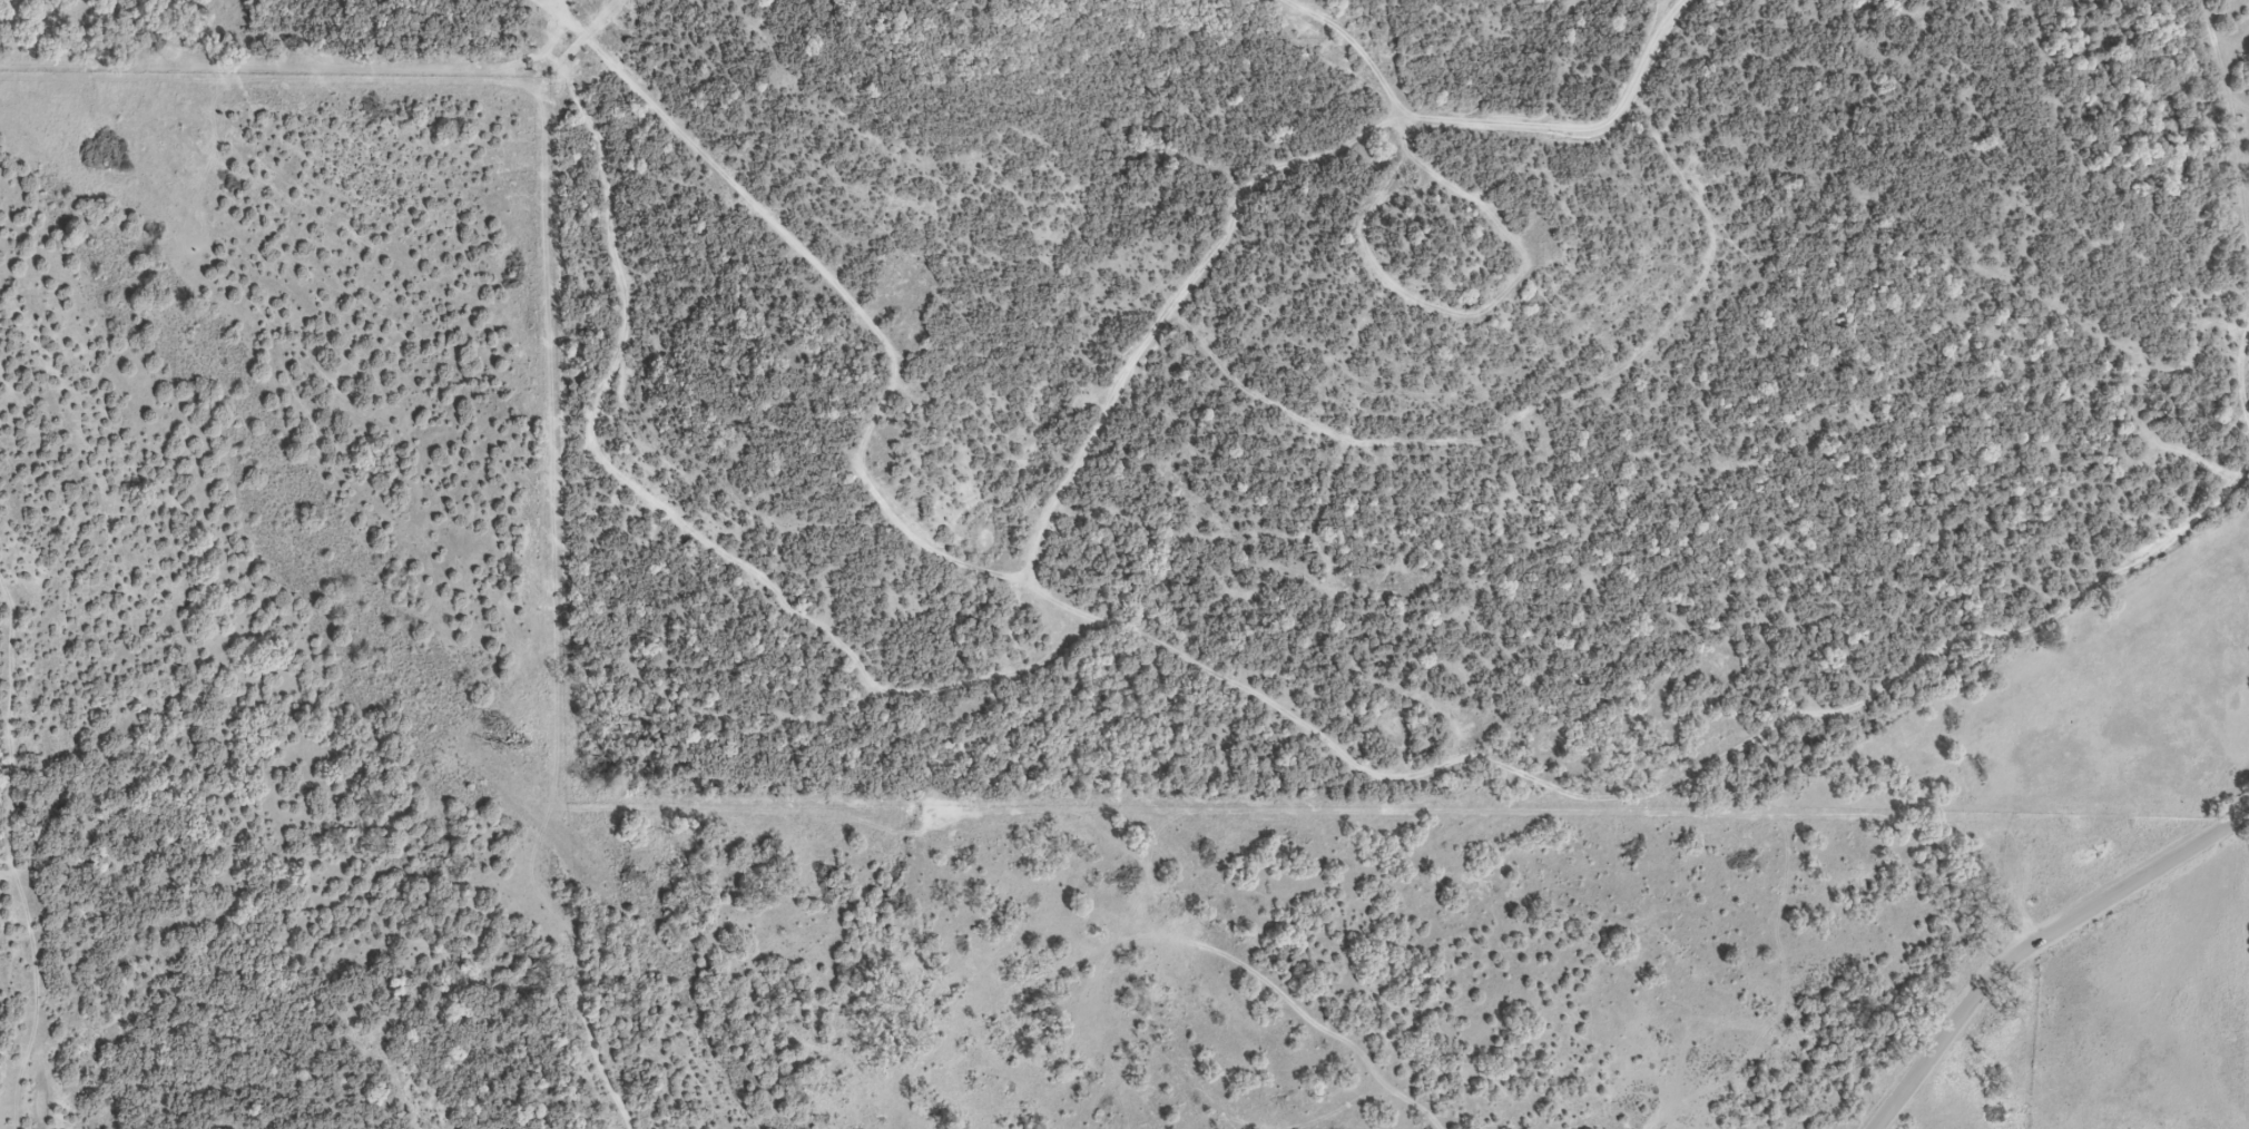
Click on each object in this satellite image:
road: (2036, 940)

